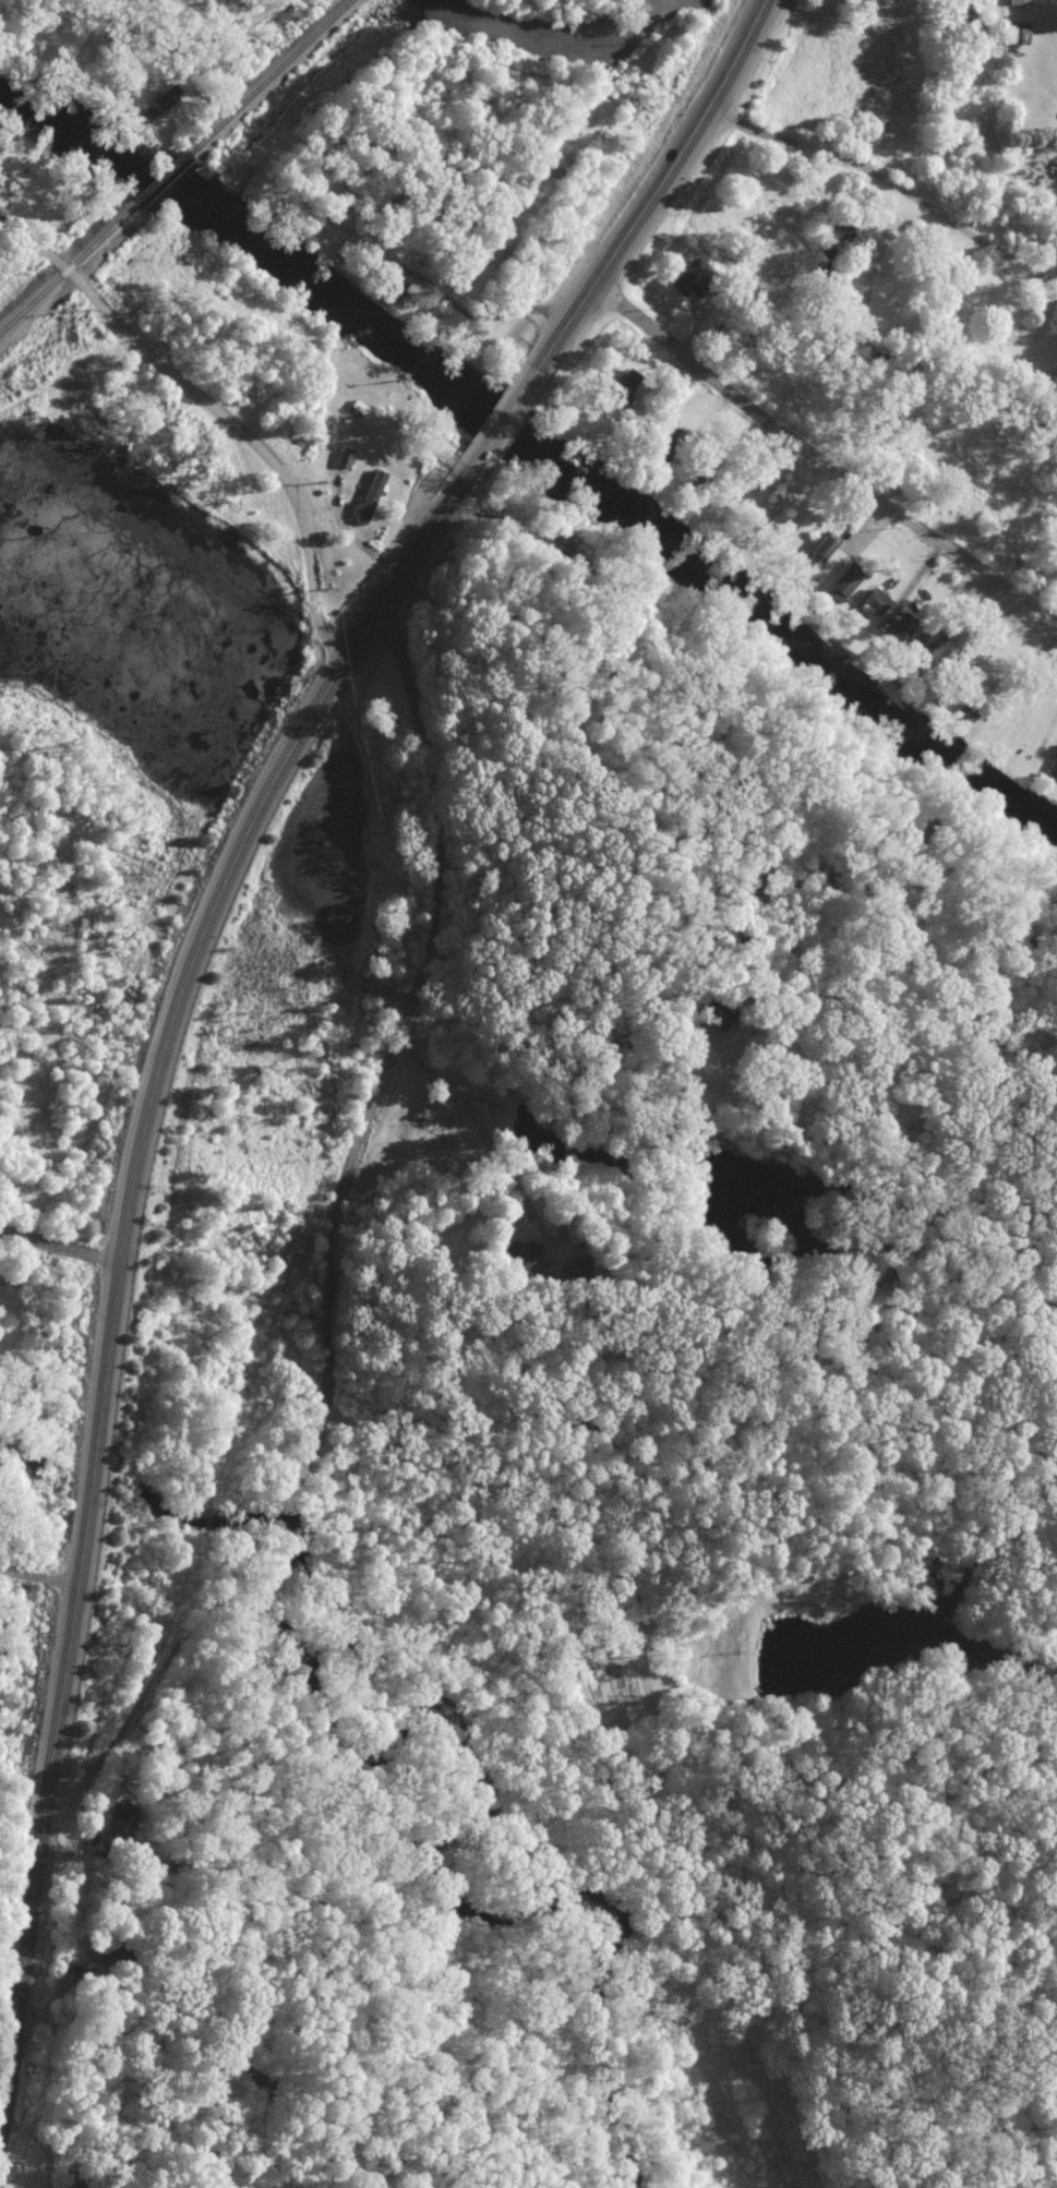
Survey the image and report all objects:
building: (1020, 1)
road: (163, 55)
railway: (272, 75)
building: (170, 95)
railway: (161, 177)
road: (657, 183)
road: (888, 183)
road: (21, 255)
railway: (68, 268)
building: (693, 276)
building: (628, 378)
road: (221, 409)
road: (504, 418)
river: (539, 442)
building: (345, 456)
road: (819, 456)
building: (370, 496)
building: (825, 548)
building: (848, 578)
building: (876, 601)
building: (905, 625)
road: (1050, 723)
building: (1052, 761)
road: (385, 990)
road: (395, 1043)
road: (60, 1242)
road: (121, 1255)
parking lot: (309, 1339)
road: (701, 1380)
road: (39, 1570)
road: (641, 1639)
building: (121, 1825)

